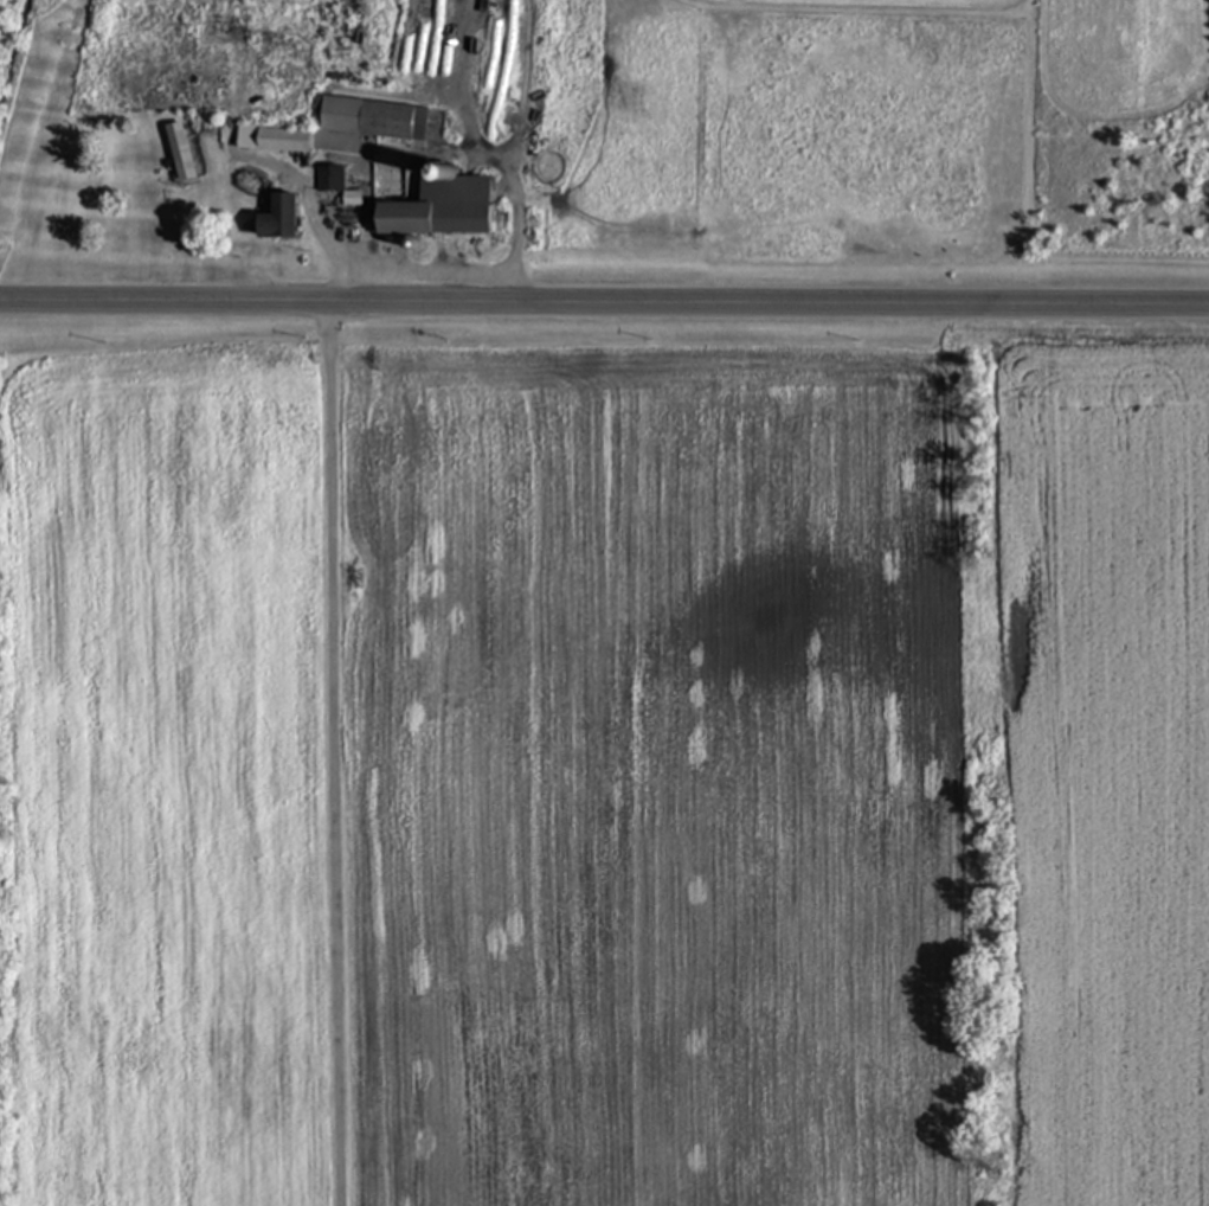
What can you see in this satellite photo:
building: (368, 121)
building: (275, 142)
building: (182, 155)
road: (499, 166)
building: (330, 181)
building: (442, 210)
building: (279, 222)
road: (604, 309)
road: (339, 756)

